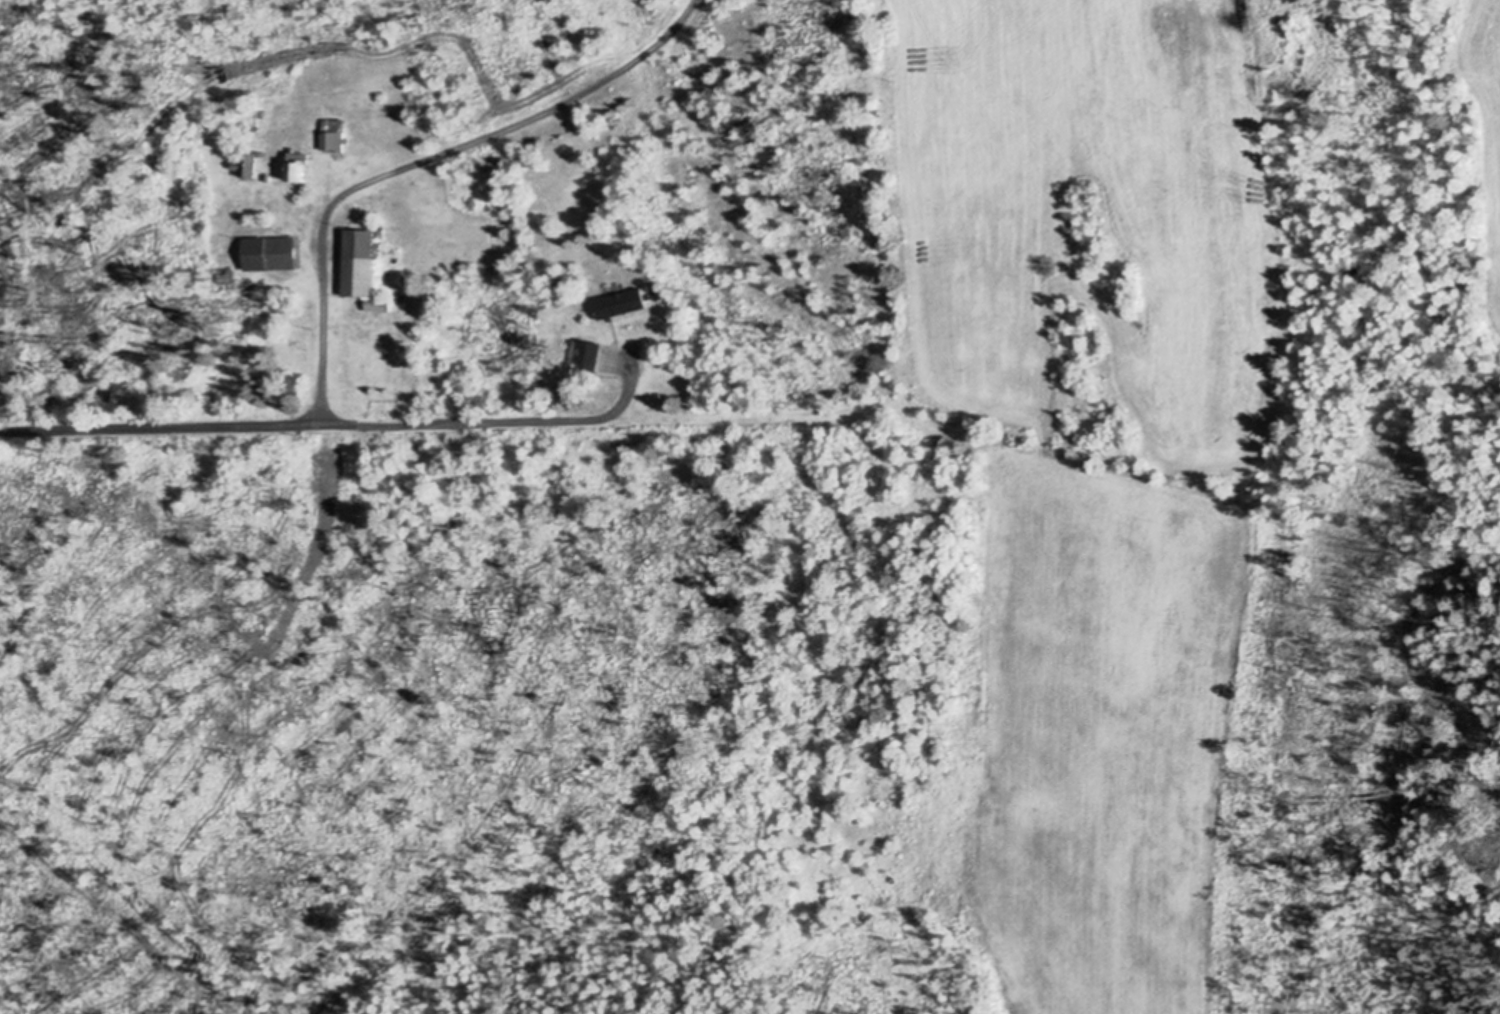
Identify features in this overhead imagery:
building: (334, 134)
building: (248, 163)
building: (300, 169)
building: (272, 251)
building: (363, 262)
road: (321, 276)
building: (622, 302)
building: (588, 354)
building: (120, 390)
road: (158, 426)

